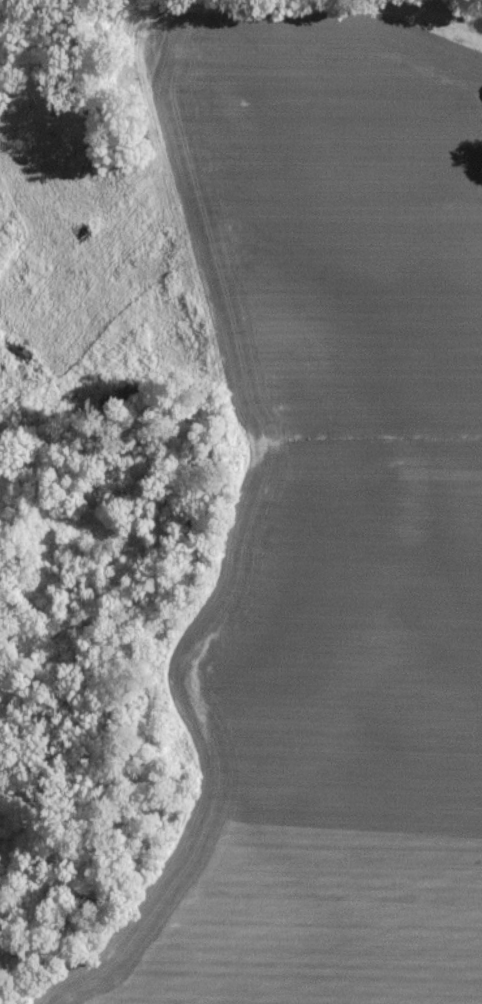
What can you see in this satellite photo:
road: (478, 23)

